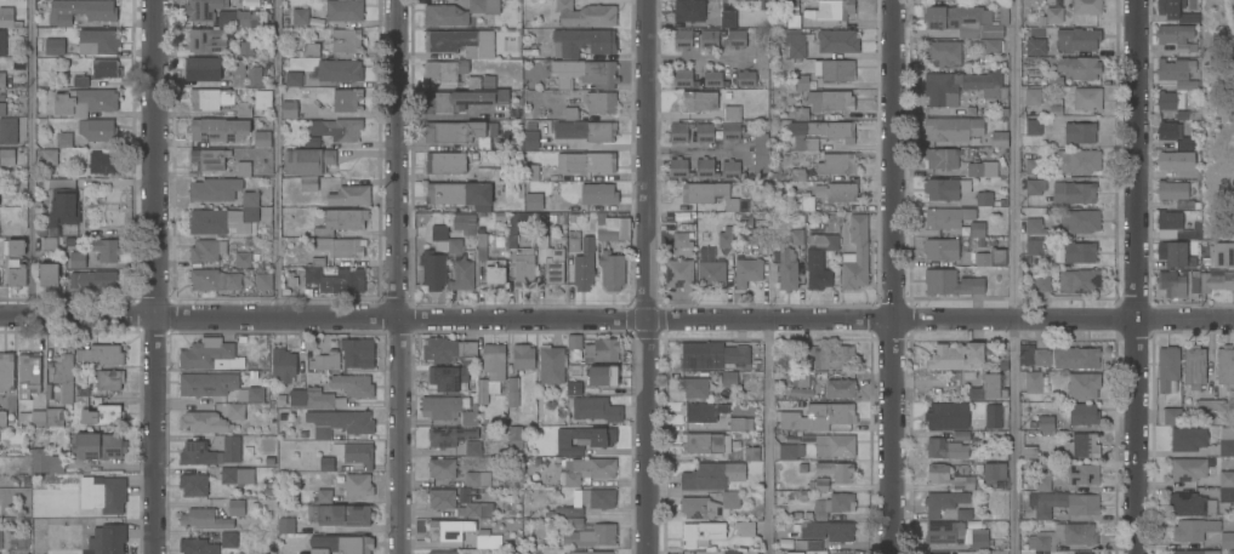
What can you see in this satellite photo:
building: (963, 2)
building: (483, 6)
building: (1087, 7)
building: (203, 8)
building: (343, 10)
building: (688, 10)
building: (830, 10)
building: (81, 11)
building: (1176, 11)
building: (1053, 12)
building: (445, 13)
building: (586, 13)
building: (792, 15)
building: (300, 16)
building: (728, 16)
building: (10, 17)
building: (250, 18)
building: (967, 21)
building: (1177, 36)
building: (682, 38)
building: (709, 38)
building: (735, 38)
building: (206, 39)
building: (346, 39)
building: (1076, 40)
building: (97, 41)
building: (451, 41)
building: (582, 41)
building: (837, 41)
building: (5, 44)
building: (55, 46)
building: (990, 46)
building: (1033, 46)
building: (245, 48)
building: (796, 48)
building: (309, 50)
building: (760, 50)
building: (944, 53)
building: (1079, 67)
building: (106, 68)
building: (201, 68)
building: (336, 69)
building: (445, 69)
building: (1175, 69)
building: (836, 70)
building: (238, 72)
building: (585, 73)
building: (254, 75)
building: (682, 76)
building: (745, 76)
building: (711, 78)
building: (2, 79)
building: (294, 79)
building: (79, 80)
building: (801, 82)
building: (1188, 85)
building: (961, 86)
building: (466, 96)
building: (1035, 97)
building: (214, 98)
building: (262, 98)
building: (347, 99)
building: (699, 99)
building: (1087, 99)
building: (831, 101)
building: (1170, 101)
building: (84, 102)
building: (602, 102)
building: (2, 108)
building: (244, 108)
building: (289, 109)
building: (570, 113)
building: (1187, 115)
building: (732, 122)
building: (339, 127)
building: (1033, 127)
building: (97, 128)
building: (218, 128)
building: (585, 128)
building: (951, 128)
building: (8, 130)
building: (1167, 130)
building: (678, 131)
building: (704, 131)
building: (460, 132)
building: (819, 133)
building: (1079, 133)
building: (63, 139)
building: (263, 139)
building: (530, 139)
building: (999, 139)
building: (1188, 145)
road: (690, 149)
building: (760, 152)
building: (49, 155)
building: (7, 156)
road: (29, 159)
building: (209, 159)
road: (275, 159)
building: (942, 159)
building: (102, 161)
building: (308, 161)
building: (445, 161)
building: (585, 161)
building: (1077, 161)
building: (1178, 162)
building: (836, 164)
building: (677, 166)
building: (1033, 166)
building: (704, 167)
building: (243, 169)
building: (730, 169)
building: (982, 170)
building: (530, 171)
building: (490, 173)
building: (796, 173)
building: (1035, 187)
building: (215, 189)
building: (945, 189)
building: (1172, 190)
building: (841, 192)
building: (461, 193)
building: (602, 193)
building: (1073, 193)
building: (709, 194)
building: (347, 195)
building: (983, 199)
building: (61, 201)
building: (534, 202)
building: (807, 204)
building: (1187, 204)
building: (250, 205)
building: (946, 217)
building: (216, 221)
building: (341, 221)
building: (533, 221)
building: (1080, 221)
building: (464, 222)
building: (1034, 225)
building: (612, 227)
building: (1176, 227)
building: (977, 229)
building: (511, 230)
building: (438, 232)
building: (760, 235)
building: (795, 236)
building: (724, 239)
building: (573, 240)
building: (681, 240)
building: (823, 241)
building: (49, 244)
building: (13, 246)
building: (340, 246)
building: (1033, 246)
building: (104, 249)
building: (944, 249)
building: (206, 250)
building: (1079, 252)
building: (855, 255)
building: (1175, 255)
building: (1223, 255)
building: (243, 258)
building: (990, 258)
building: (76, 259)
building: (550, 259)
building: (584, 264)
building: (460, 265)
building: (524, 265)
building: (432, 269)
building: (612, 269)
building: (786, 269)
building: (747, 270)
building: (491, 272)
building: (16, 273)
building: (678, 273)
building: (47, 274)
building: (711, 274)
road: (154, 276)
road: (398, 276)
road: (644, 276)
road: (889, 276)
road: (1012, 276)
road: (1133, 276)
building: (334, 278)
building: (214, 279)
building: (818, 279)
building: (92, 280)
building: (263, 280)
building: (1077, 281)
building: (1194, 281)
building: (1216, 281)
building: (950, 282)
building: (1041, 282)
building: (1171, 284)
road: (616, 318)
building: (574, 341)
building: (449, 349)
building: (602, 349)
building: (358, 353)
building: (99, 354)
building: (210, 354)
building: (701, 354)
building: (741, 355)
building: (959, 355)
building: (522, 356)
building: (829, 356)
building: (1041, 358)
building: (1076, 358)
building: (329, 361)
building: (283, 364)
building: (552, 364)
building: (1194, 365)
building: (1226, 365)
building: (1168, 369)
building: (6, 371)
building: (490, 371)
building: (28, 376)
building: (602, 376)
building: (449, 377)
building: (729, 377)
building: (63, 378)
building: (108, 378)
building: (1033, 382)
building: (206, 383)
building: (352, 384)
building: (573, 384)
building: (797, 385)
building: (1084, 385)
building: (694, 387)
building: (988, 387)
building: (840, 388)
building: (512, 390)
building: (256, 395)
building: (314, 398)
building: (443, 405)
building: (1211, 406)
building: (96, 407)
building: (596, 407)
building: (235, 410)
building: (701, 411)
building: (1082, 415)
building: (55, 416)
building: (945, 416)
building: (1, 417)
building: (33, 417)
building: (468, 417)
building: (818, 417)
building: (993, 417)
building: (1172, 417)
building: (204, 421)
building: (339, 422)
building: (740, 423)
building: (1045, 423)
building: (449, 435)
road: (766, 436)
building: (961, 436)
building: (591, 438)
building: (514, 439)
building: (1187, 439)
building: (705, 442)
building: (1226, 442)
building: (98, 445)
building: (834, 446)
building: (1081, 446)
building: (472, 449)
building: (945, 450)
building: (211, 451)
building: (354, 452)
building: (789, 452)
building: (1029, 452)
building: (751, 453)
building: (40, 459)
building: (324, 463)
building: (442, 467)
building: (586, 469)
building: (1188, 469)
building: (831, 470)
building: (994, 470)
building: (237, 474)
building: (712, 474)
building: (1082, 474)
building: (477, 478)
building: (823, 478)
building: (948, 479)
building: (1042, 479)
building: (1226, 479)
building: (193, 484)
building: (358, 484)
building: (818, 484)
building: (109, 493)
building: (311, 495)
building: (1226, 495)
building: (440, 497)
building: (587, 501)
building: (943, 502)
building: (471, 504)
building: (709, 504)
building: (834, 504)
building: (1060, 504)
building: (1190, 504)
building: (235, 507)
building: (340, 514)
building: (965, 514)
building: (204, 519)
building: (285, 524)
building: (745, 527)
building: (449, 529)
building: (1193, 530)
building: (825, 531)
building: (588, 532)
building: (701, 532)
building: (944, 532)
building: (1063, 536)
building: (107, 538)
building: (228, 538)
building: (487, 538)
building: (8, 539)
building: (979, 539)
building: (1227, 539)
building: (341, 543)
building: (199, 546)
building: (807, 546)
building: (442, 552)
building: (591, 552)
building: (730, 552)
building: (804, 552)
building: (1195, 552)
building: (938, 553)
building: (1084, 553)

